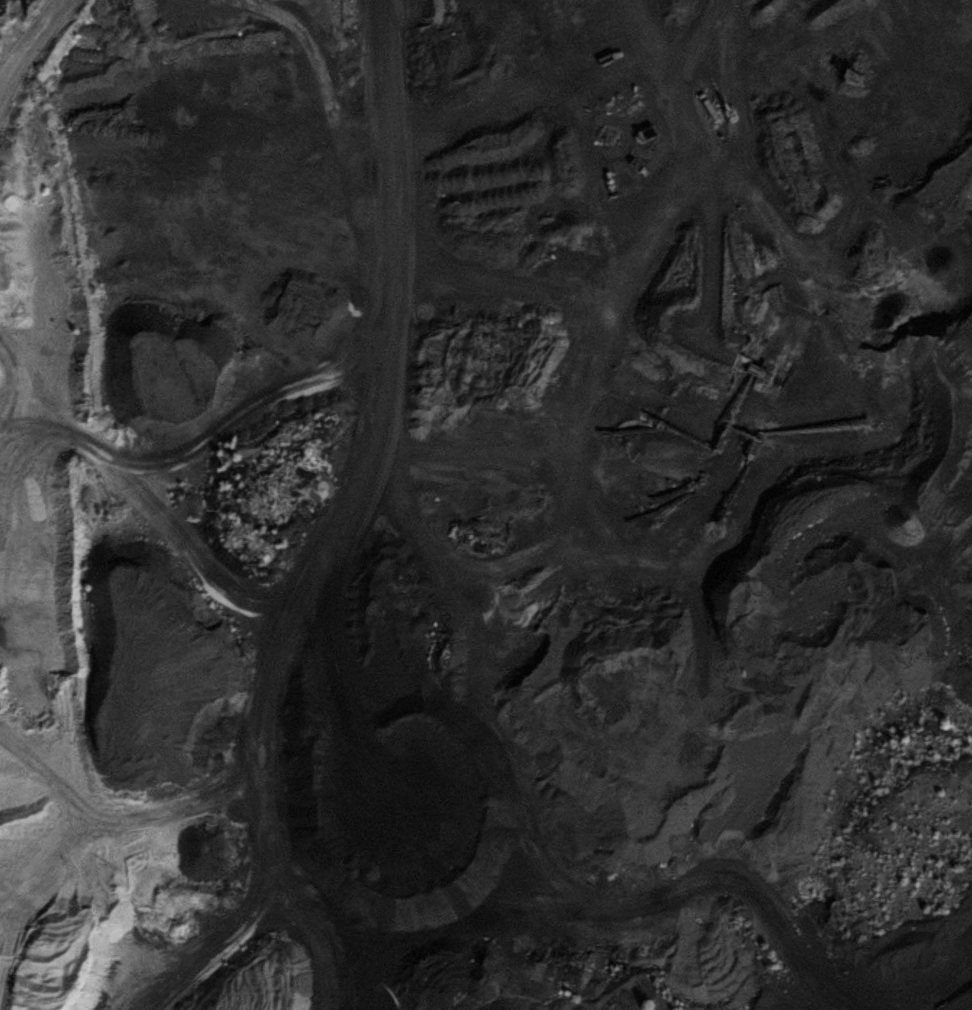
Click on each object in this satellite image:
quarry: (102, 861)

